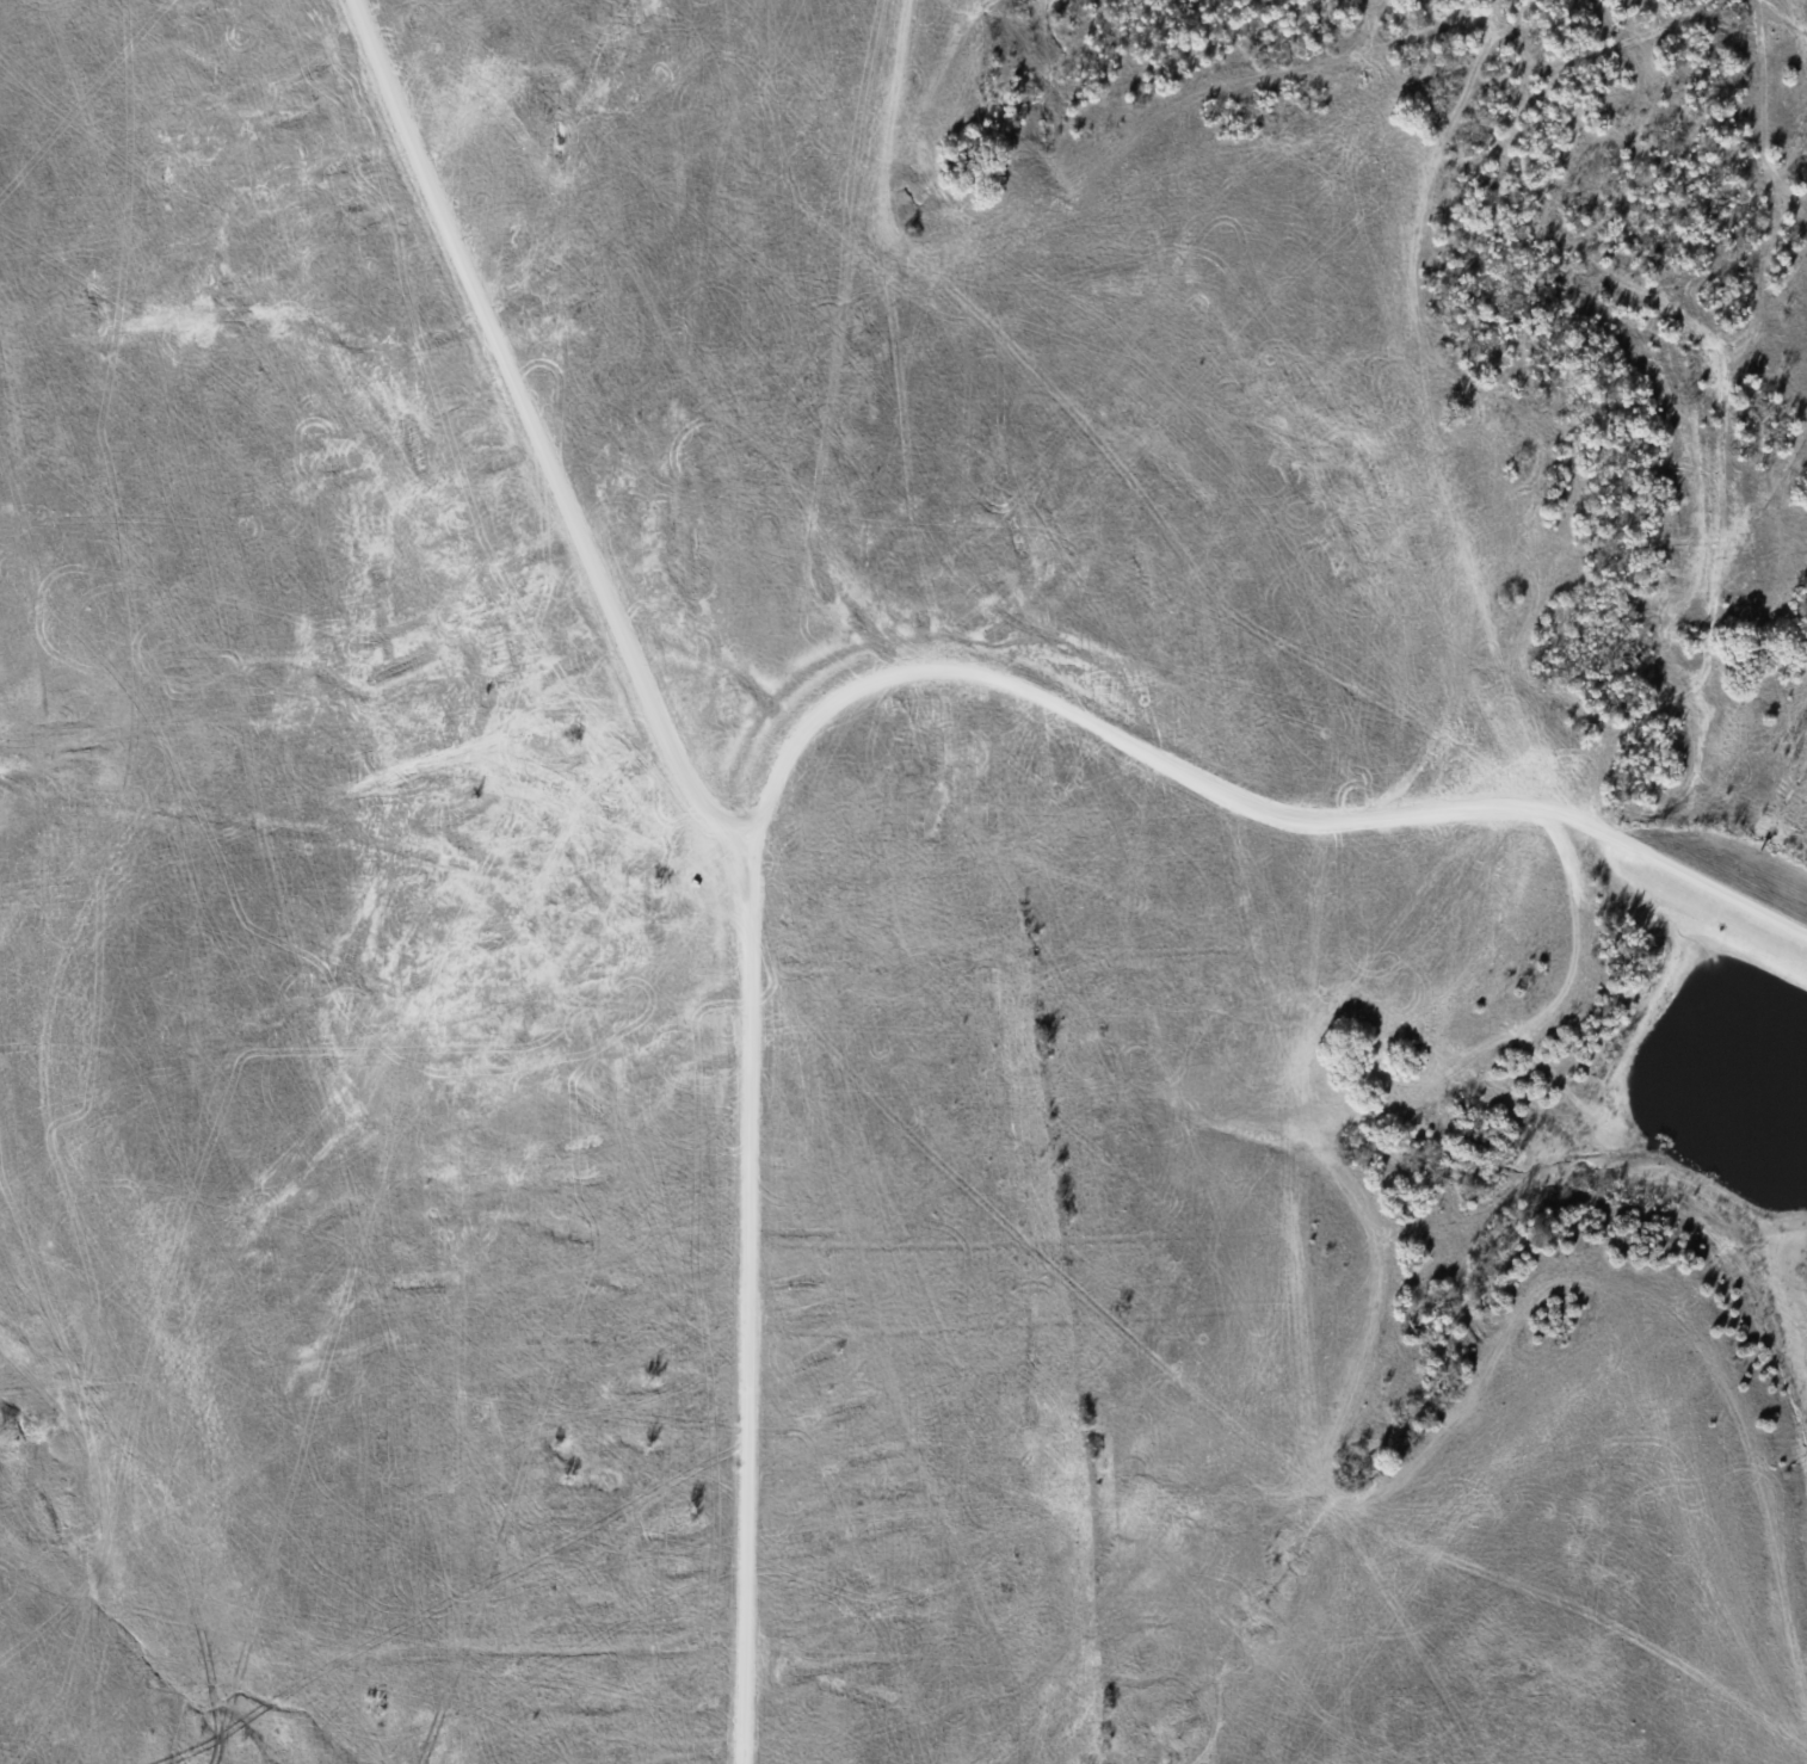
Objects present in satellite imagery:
road: (723, 845)

